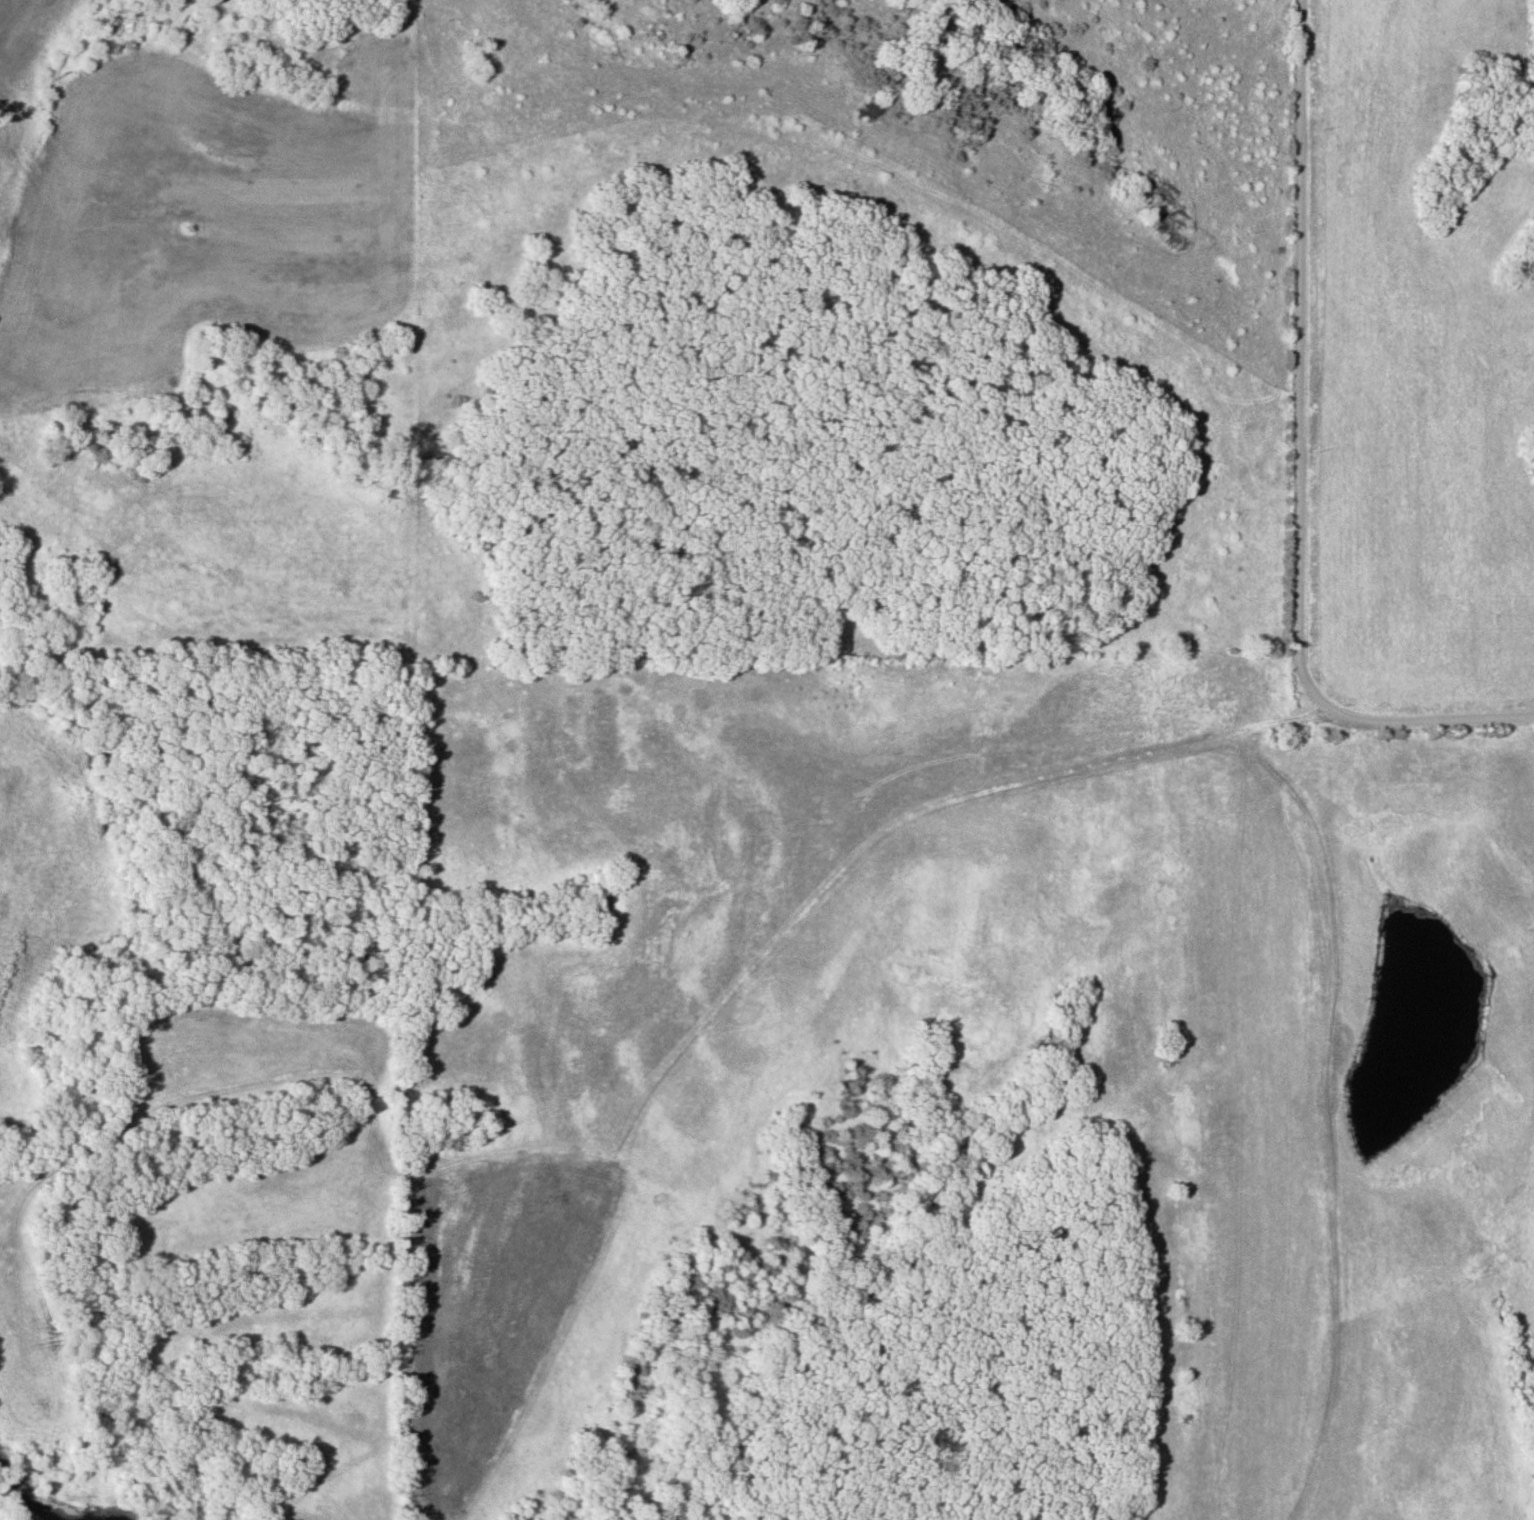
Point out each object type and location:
road: (1304, 457)

